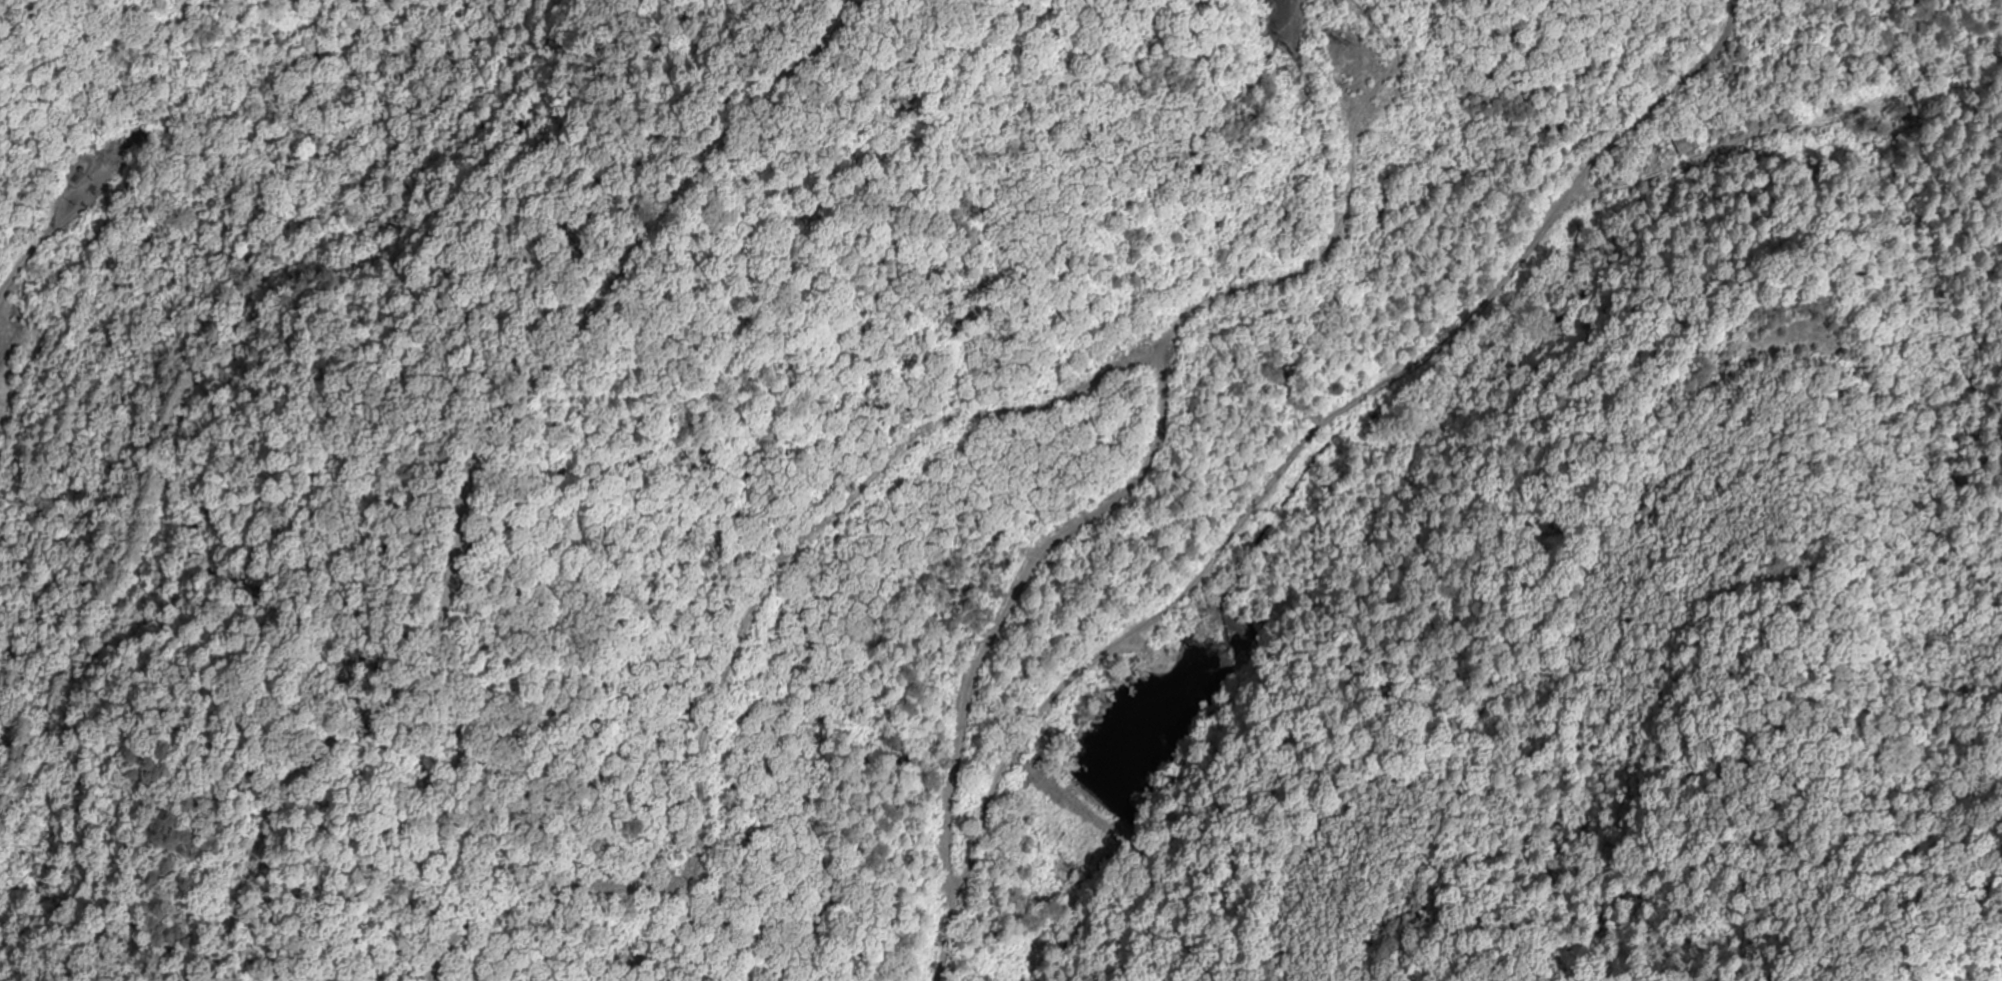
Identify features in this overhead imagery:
building: (1897, 112)
building: (1688, 144)
road: (1256, 428)

